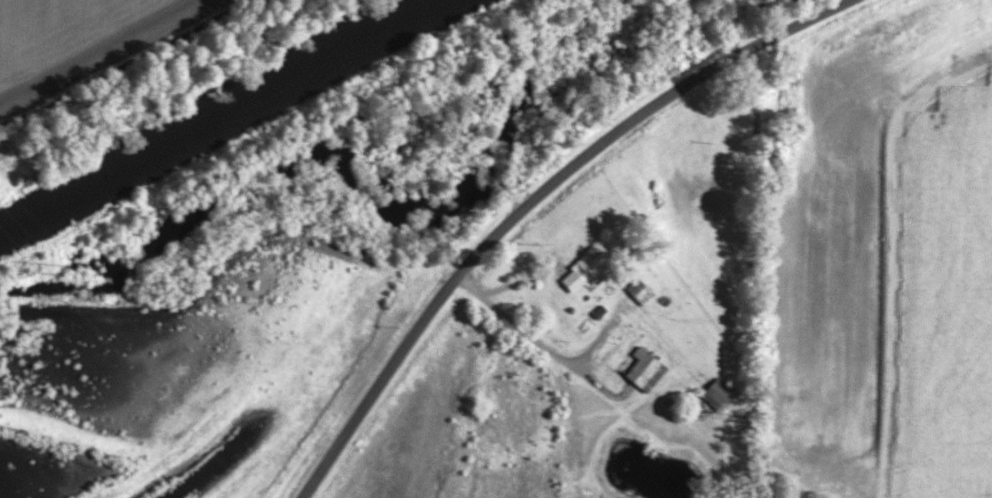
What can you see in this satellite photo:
road: (538, 202)
power tower: (55, 260)
building: (579, 272)
building: (636, 292)
road: (550, 352)
building: (639, 369)
building: (715, 393)

